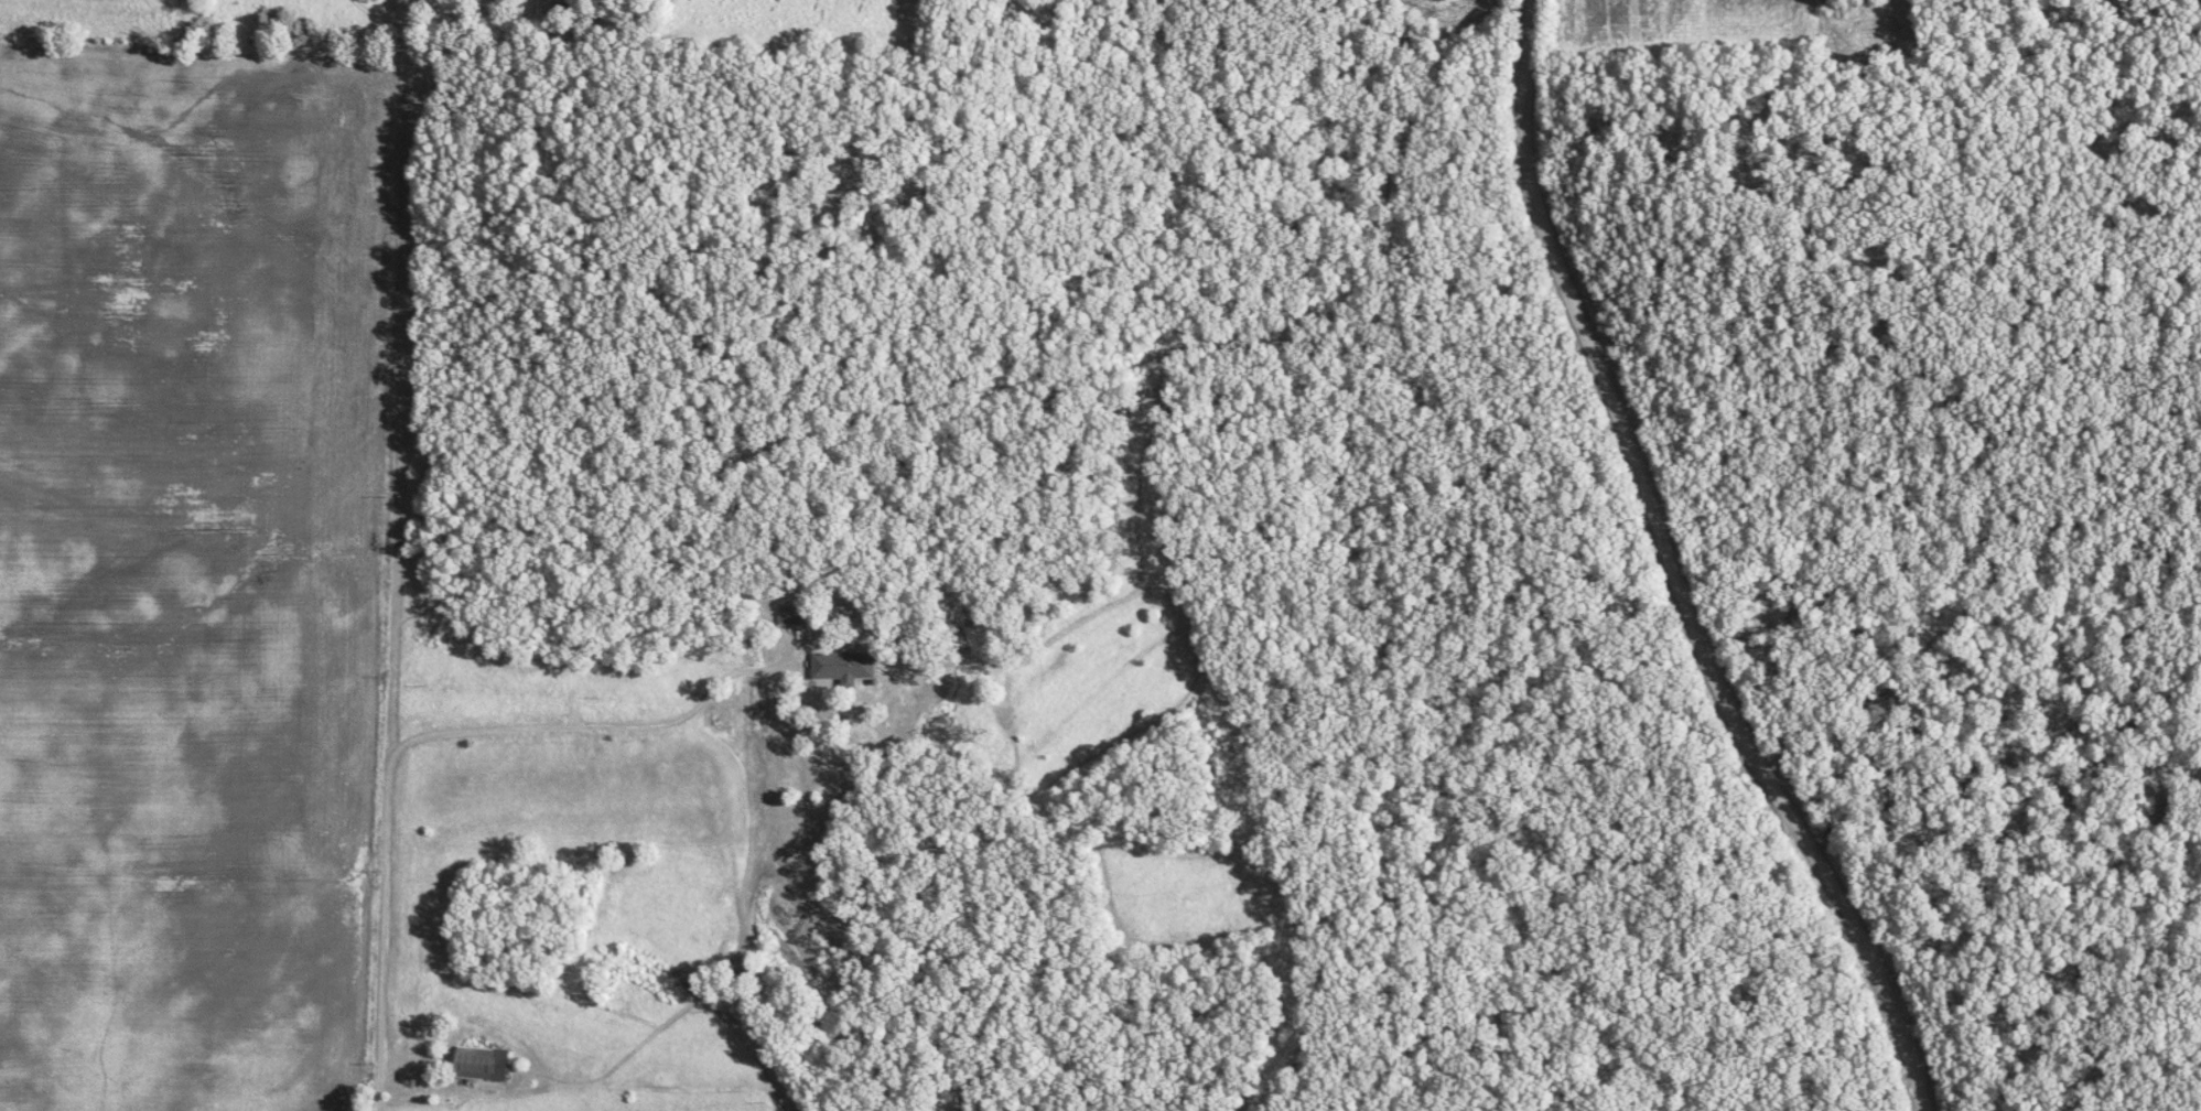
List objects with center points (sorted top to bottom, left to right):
road: (1663, 573)
building: (791, 615)
building: (850, 669)
road: (444, 734)
road: (640, 1035)

